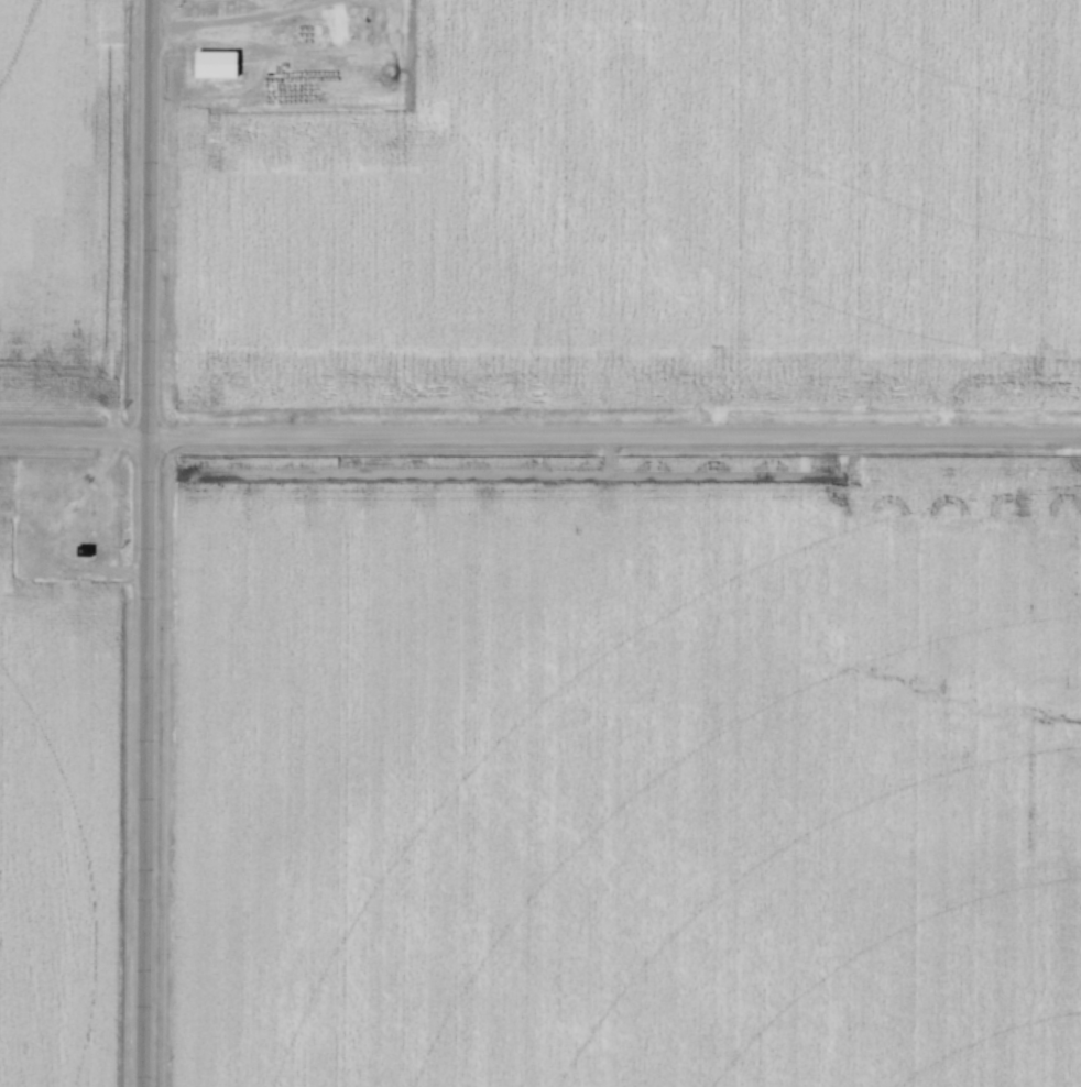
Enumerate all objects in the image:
road: (233, 30)
road: (539, 439)
road: (145, 543)
building: (90, 551)

